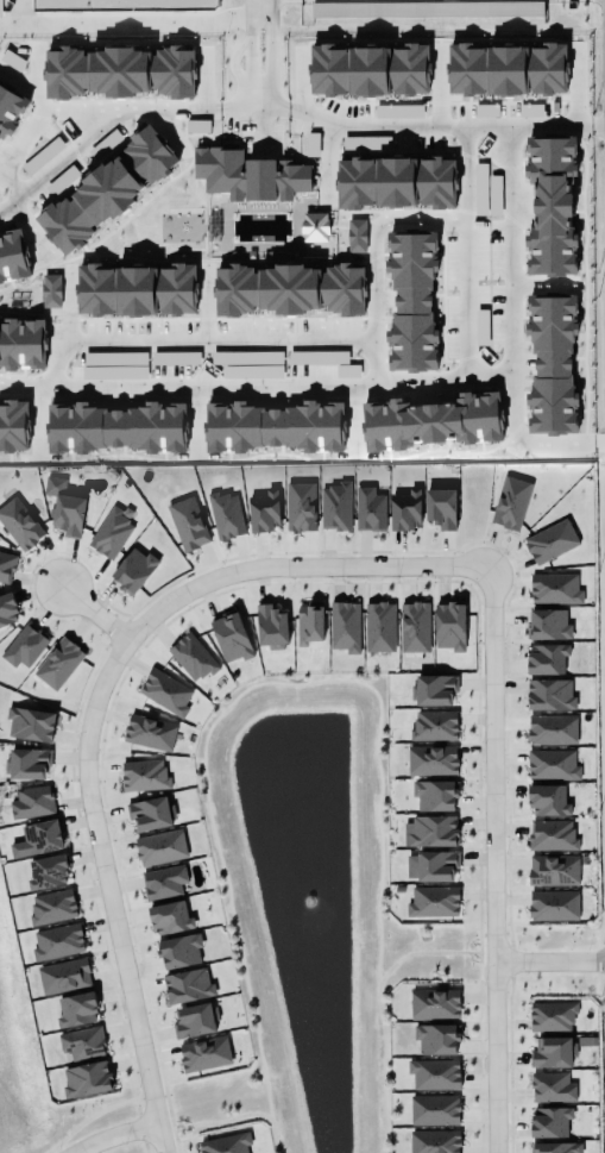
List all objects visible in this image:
building: (126, 4)
building: (426, 10)
road: (250, 12)
road: (270, 12)
road: (5, 26)
road: (126, 26)
building: (118, 67)
building: (506, 70)
building: (368, 71)
road: (258, 90)
road: (114, 107)
building: (10, 109)
building: (399, 111)
road: (259, 121)
building: (197, 126)
road: (396, 126)
building: (105, 144)
building: (366, 144)
building: (311, 145)
building: (42, 156)
road: (59, 163)
building: (248, 176)
road: (12, 183)
building: (396, 183)
building: (107, 190)
building: (552, 206)
road: (509, 225)
building: (315, 227)
building: (357, 236)
road: (377, 239)
building: (12, 257)
building: (136, 289)
building: (289, 290)
building: (50, 292)
building: (412, 302)
road: (220, 340)
building: (552, 365)
road: (323, 384)
building: (430, 421)
building: (13, 427)
building: (272, 427)
building: (115, 428)
road: (528, 441)
building: (510, 503)
building: (298, 506)
building: (334, 506)
building: (439, 507)
building: (64, 508)
building: (367, 508)
building: (403, 508)
building: (261, 509)
building: (223, 513)
building: (185, 522)
building: (19, 525)
building: (111, 532)
building: (550, 541)
building: (6, 565)
road: (298, 566)
building: (132, 569)
building: (555, 589)
building: (6, 607)
road: (94, 613)
building: (308, 622)
building: (342, 625)
building: (377, 625)
building: (412, 625)
building: (448, 625)
building: (548, 625)
building: (270, 626)
building: (229, 637)
building: (24, 647)
building: (191, 656)
building: (547, 659)
building: (57, 662)
building: (433, 688)
building: (164, 691)
building: (548, 693)
building: (29, 722)
building: (434, 726)
building: (550, 728)
building: (150, 733)
building: (429, 759)
building: (25, 762)
building: (550, 764)
building: (141, 773)
building: (433, 792)
building: (30, 801)
building: (548, 801)
building: (149, 814)
building: (431, 829)
building: (550, 834)
building: (39, 836)
building: (158, 846)
road: (493, 859)
building: (431, 866)
building: (552, 869)
building: (45, 870)
building: (162, 881)
road: (108, 892)
building: (430, 903)
building: (552, 903)
building: (51, 906)
building: (170, 919)
building: (56, 941)
building: (178, 950)
road: (549, 960)
building: (63, 977)
building: (185, 984)
building: (433, 1002)
building: (76, 1010)
building: (550, 1015)
building: (193, 1017)
building: (436, 1039)
building: (81, 1042)
building: (203, 1053)
building: (553, 1053)
building: (434, 1074)
building: (86, 1078)
building: (552, 1088)
building: (433, 1108)
building: (549, 1120)
road: (113, 1134)
building: (433, 1140)
building: (226, 1143)
building: (554, 1147)

